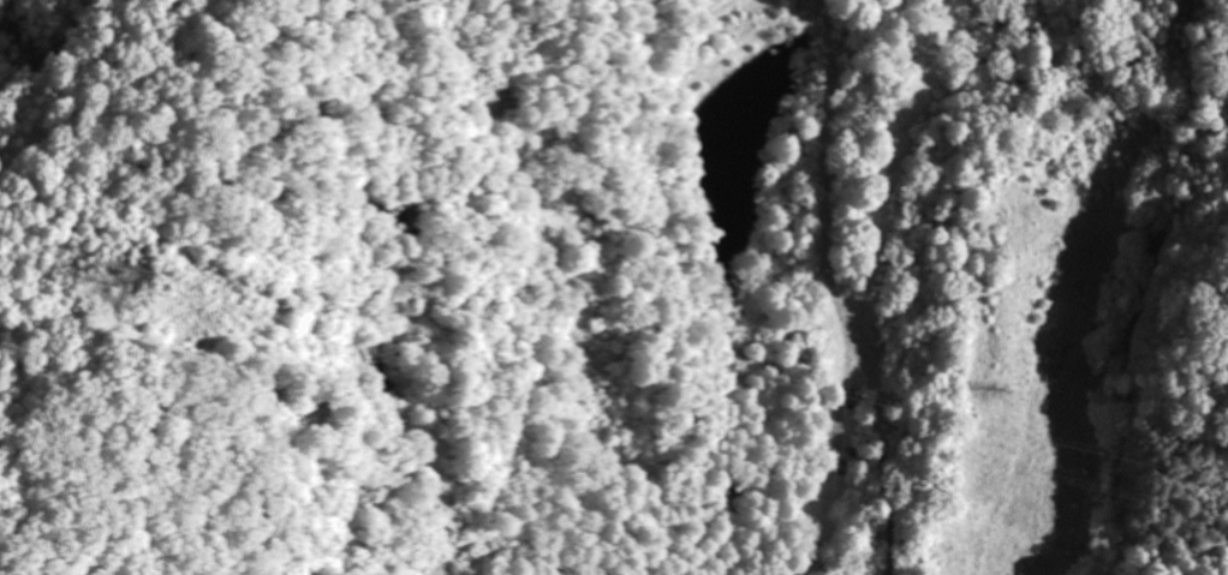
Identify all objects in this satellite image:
power tower: (125, 274)

